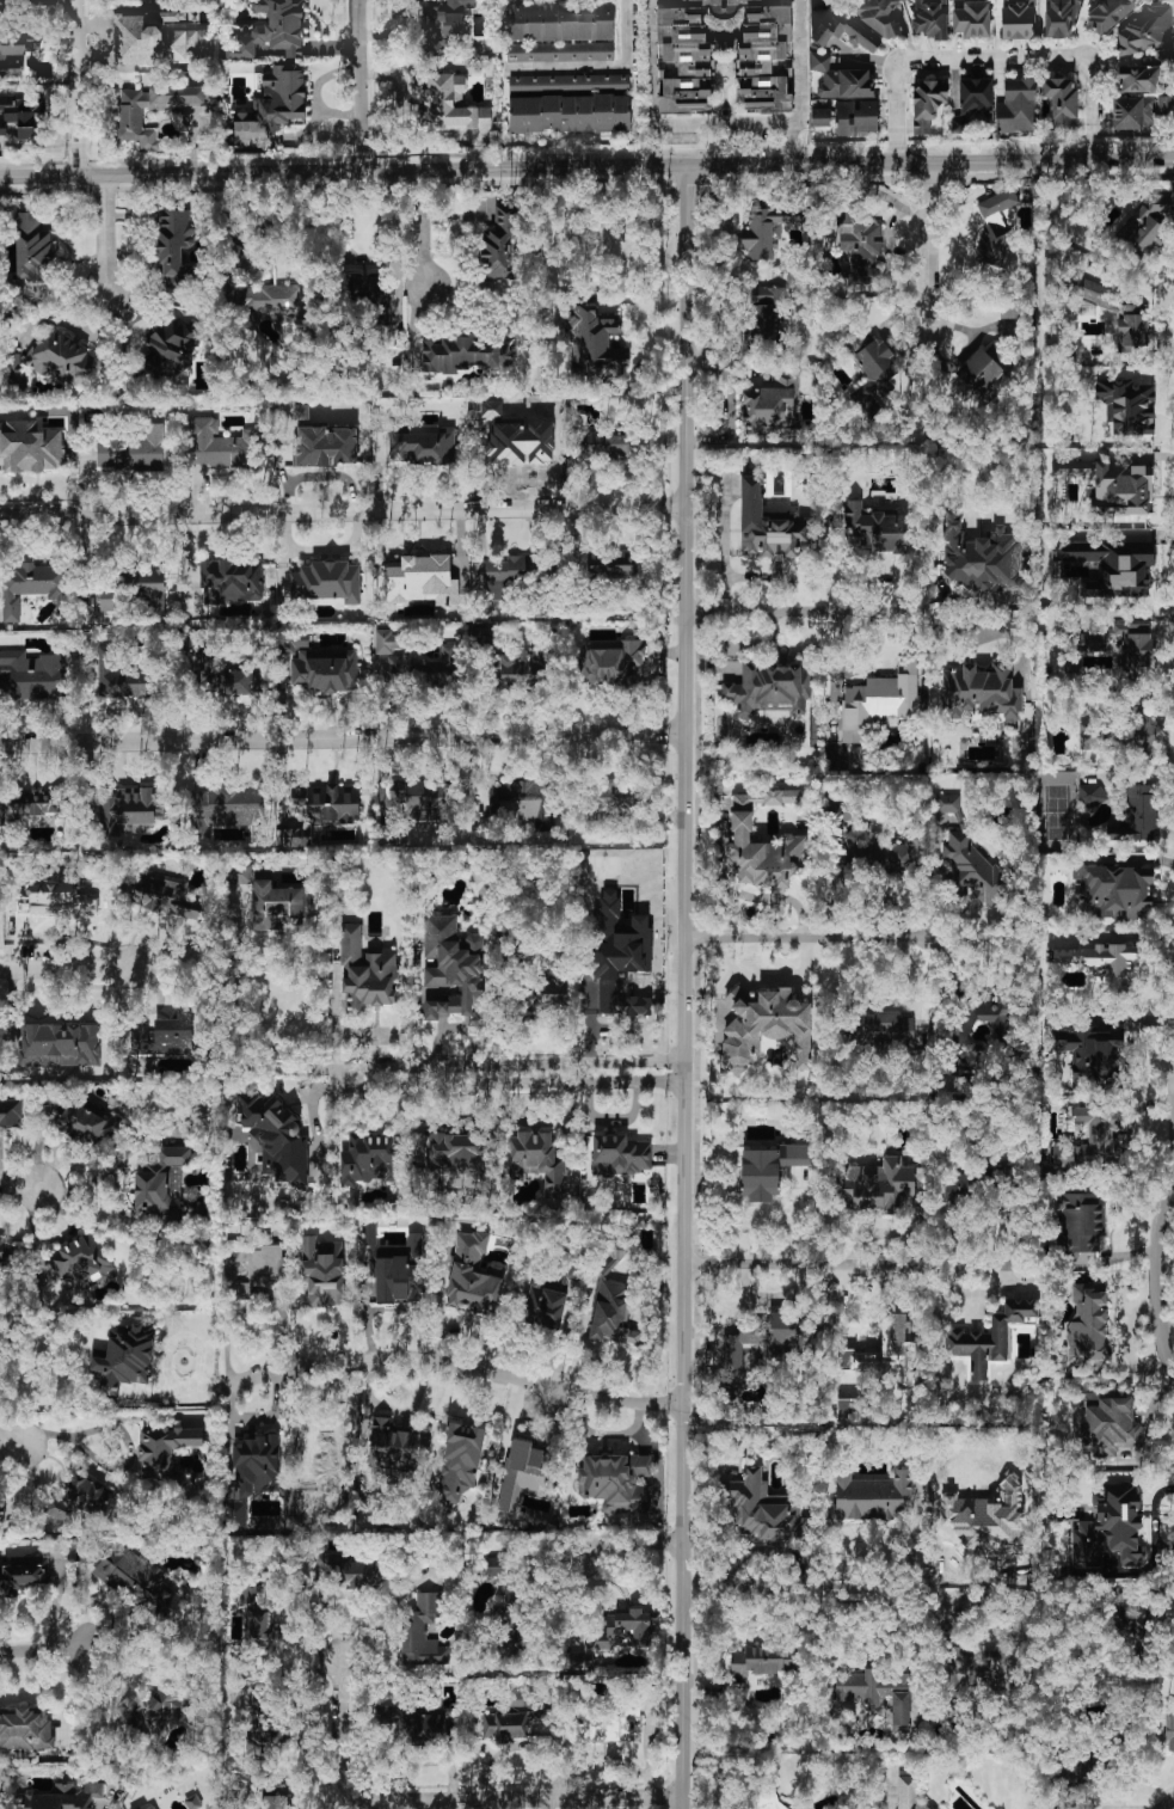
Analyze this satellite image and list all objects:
building: (6, 2)
building: (1108, 14)
building: (879, 16)
building: (998, 17)
building: (1062, 17)
building: (930, 19)
building: (972, 20)
building: (1018, 20)
building: (560, 22)
building: (272, 30)
building: (1147, 32)
building: (846, 35)
building: (156, 39)
building: (560, 51)
building: (12, 55)
building: (1162, 55)
road: (992, 56)
road: (598, 67)
building: (764, 68)
building: (1139, 79)
building: (841, 80)
road: (798, 84)
road: (653, 85)
road: (363, 86)
road: (78, 87)
building: (210, 96)
building: (276, 102)
building: (1061, 103)
building: (570, 104)
building: (928, 104)
building: (450, 105)
building: (973, 105)
building: (1016, 108)
building: (1139, 111)
building: (21, 117)
building: (819, 117)
building: (856, 117)
building: (129, 118)
road: (724, 128)
road: (586, 170)
road: (238, 203)
building: (994, 223)
building: (1148, 225)
road: (419, 231)
building: (766, 233)
road: (109, 234)
building: (861, 241)
road: (926, 244)
building: (499, 246)
building: (32, 247)
building: (176, 249)
building: (371, 298)
building: (272, 300)
building: (764, 308)
building: (1010, 311)
building: (1120, 315)
building: (595, 343)
building: (171, 348)
building: (462, 355)
building: (60, 358)
building: (871, 372)
building: (16, 373)
building: (976, 375)
building: (1127, 406)
building: (770, 407)
building: (521, 441)
building: (606, 443)
building: (423, 444)
building: (220, 446)
building: (31, 447)
building: (326, 447)
building: (133, 450)
building: (1072, 468)
building: (1121, 487)
road: (344, 513)
building: (768, 526)
building: (875, 528)
building: (981, 558)
building: (1112, 565)
building: (611, 569)
building: (505, 575)
building: (231, 581)
building: (327, 582)
building: (422, 582)
building: (31, 587)
building: (149, 597)
road: (709, 613)
road: (825, 613)
road: (1133, 617)
road: (984, 620)
building: (1089, 643)
building: (1135, 644)
building: (413, 662)
building: (611, 664)
building: (326, 670)
building: (520, 670)
building: (223, 674)
building: (31, 676)
building: (123, 677)
building: (770, 689)
building: (981, 694)
building: (880, 700)
building: (1120, 735)
road: (343, 740)
building: (614, 793)
building: (1092, 796)
building: (419, 801)
building: (523, 802)
building: (328, 803)
building: (32, 805)
building: (948, 805)
building: (228, 808)
building: (130, 810)
building: (1138, 815)
building: (297, 838)
building: (762, 844)
building: (874, 850)
building: (973, 872)
building: (239, 873)
building: (1112, 891)
building: (168, 896)
building: (276, 907)
road: (799, 934)
building: (619, 948)
building: (1101, 964)
road: (66, 967)
building: (450, 968)
building: (367, 974)
road: (768, 974)
road: (689, 988)
building: (545, 993)
building: (638, 1005)
road: (241, 1010)
building: (766, 1026)
building: (886, 1026)
building: (963, 1029)
building: (172, 1035)
building: (140, 1038)
building: (59, 1045)
building: (1092, 1054)
building: (385, 1059)
road: (318, 1077)
building: (11, 1114)
building: (86, 1124)
building: (276, 1137)
building: (1092, 1140)
building: (619, 1155)
building: (453, 1157)
building: (370, 1159)
building: (536, 1160)
building: (769, 1170)
road: (23, 1183)
building: (160, 1183)
building: (877, 1186)
building: (958, 1188)
road: (1173, 1200)
building: (1082, 1221)
building: (369, 1234)
building: (615, 1247)
building: (5, 1251)
building: (80, 1261)
building: (265, 1262)
road: (810, 1265)
building: (324, 1271)
road: (1163, 1271)
building: (473, 1276)
building: (240, 1290)
building: (554, 1293)
road: (253, 1302)
building: (611, 1313)
road: (584, 1324)
building: (1088, 1325)
building: (991, 1337)
building: (767, 1338)
building: (123, 1359)
road: (622, 1361)
road: (461, 1367)
road: (257, 1417)
building: (1108, 1425)
road: (81, 1434)
building: (324, 1437)
road: (12, 1439)
building: (391, 1446)
building: (165, 1448)
road: (12, 1451)
building: (459, 1465)
road: (119, 1468)
building: (522, 1473)
building: (251, 1476)
building: (616, 1482)
building: (872, 1496)
building: (86, 1502)
building: (5, 1507)
building: (766, 1509)
building: (1108, 1528)
road: (634, 1540)
building: (496, 1566)
building: (344, 1570)
building: (23, 1575)
building: (137, 1580)
road: (806, 1586)
road: (352, 1594)
building: (256, 1615)
building: (510, 1617)
building: (1132, 1621)
building: (422, 1633)
building: (615, 1636)
road: (41, 1648)
building: (766, 1660)
building: (972, 1669)
road: (47, 1687)
building: (879, 1694)
building: (154, 1712)
road: (294, 1715)
building: (512, 1717)
building: (416, 1721)
building: (25, 1728)
building: (264, 1729)
building: (1169, 1731)
building: (762, 1793)
building: (909, 1793)
building: (276, 1796)
building: (62, 1797)
road: (445, 1801)
building: (192, 1803)
road: (1168, 1804)
building: (152, 1808)

